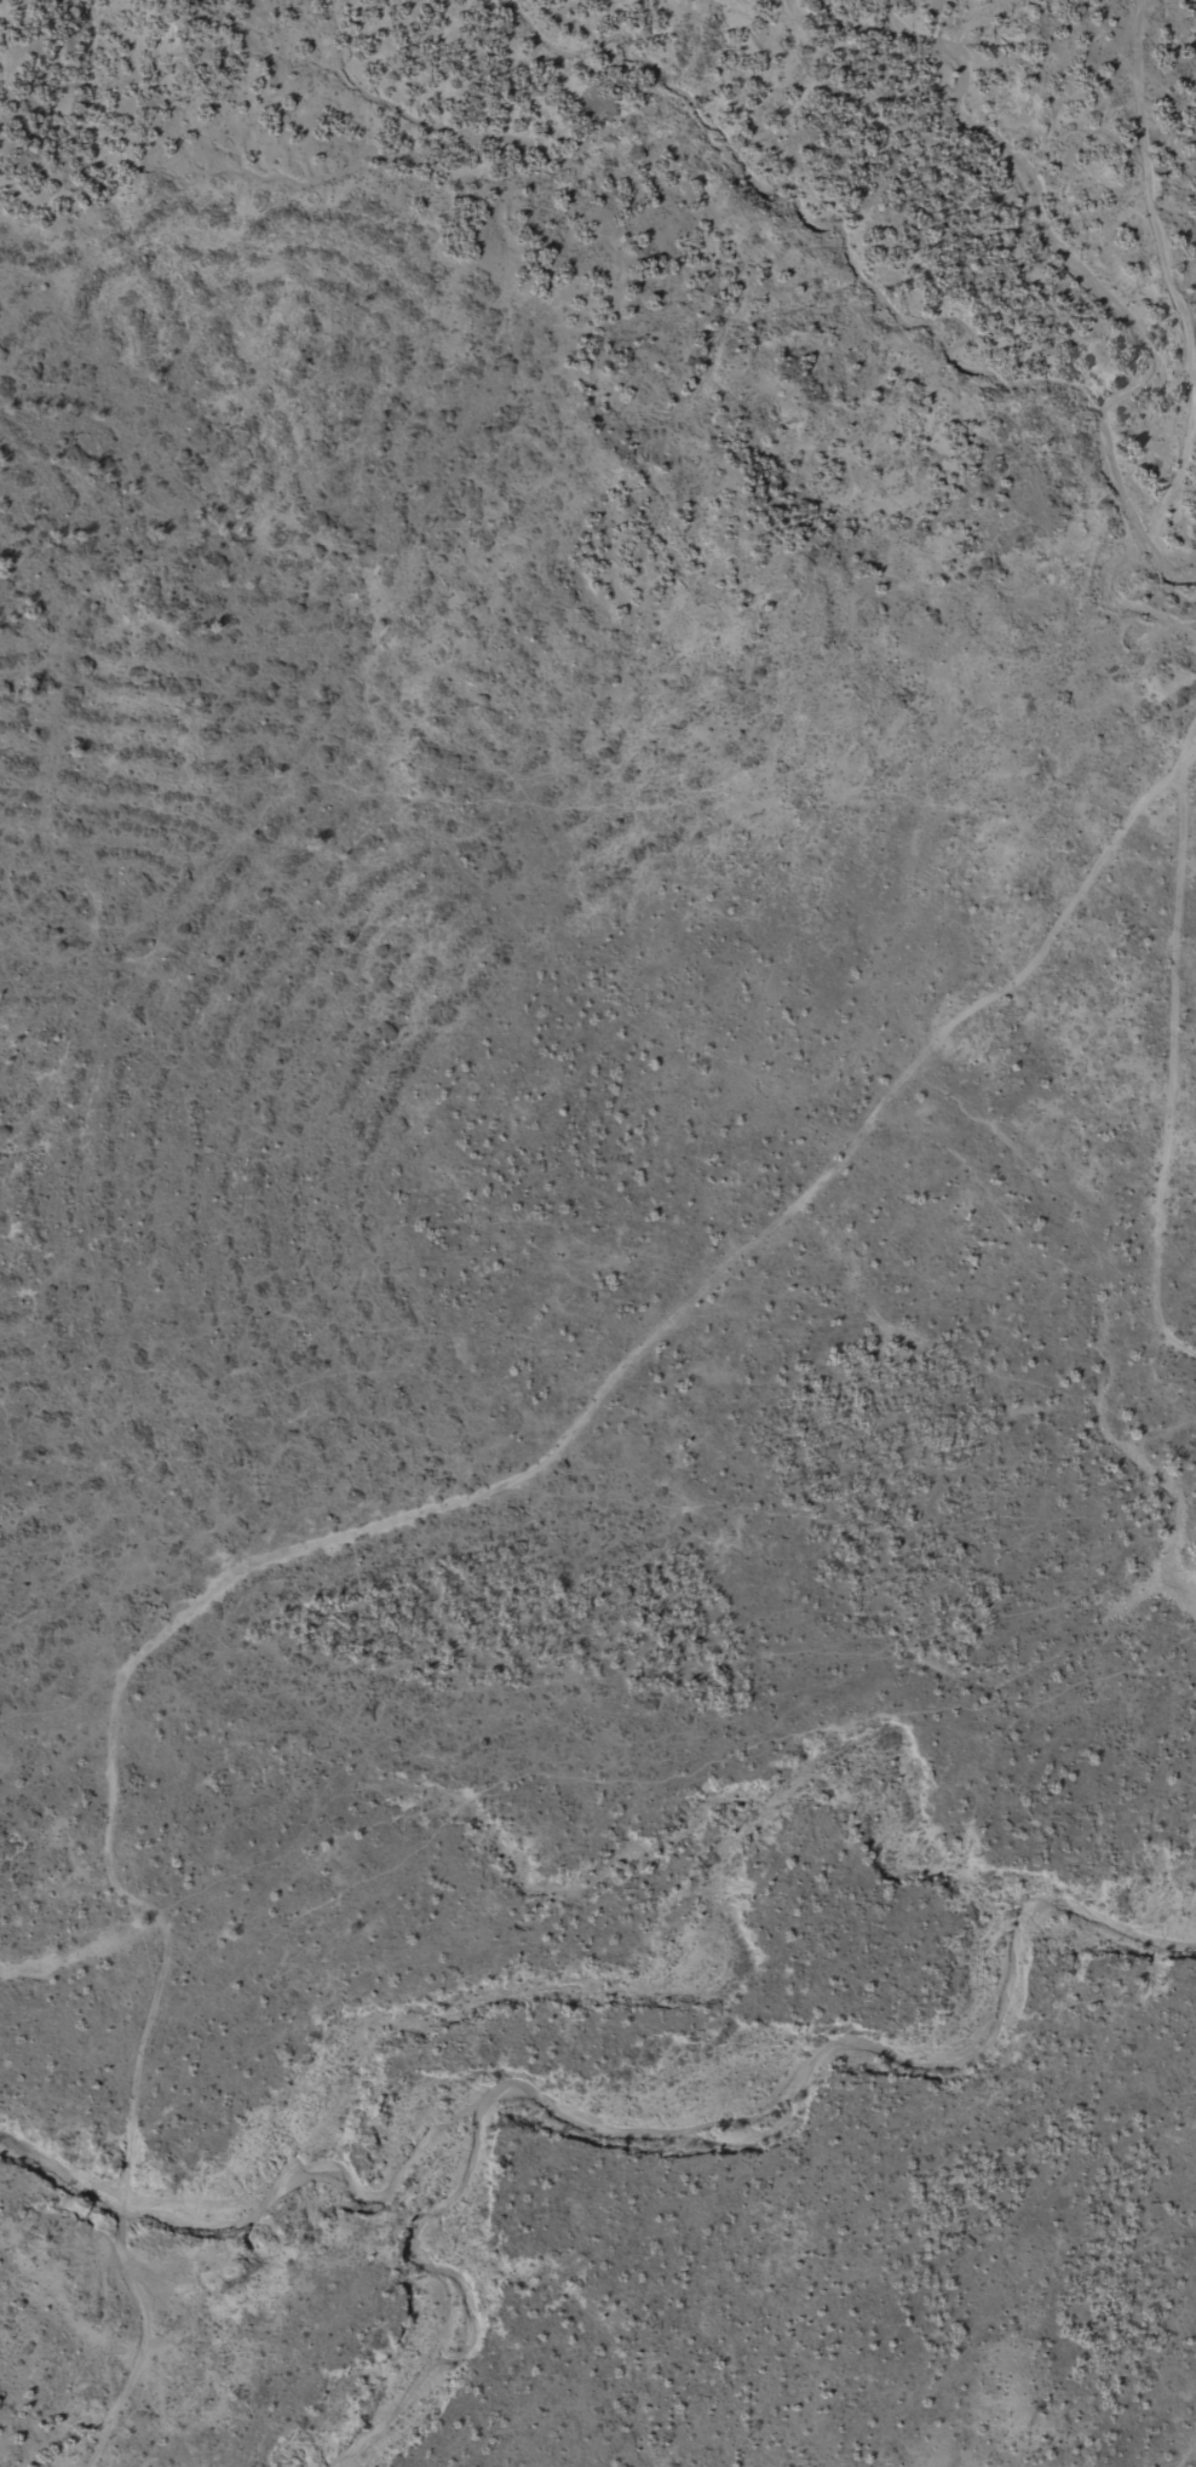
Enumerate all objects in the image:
road: (1172, 2440)

